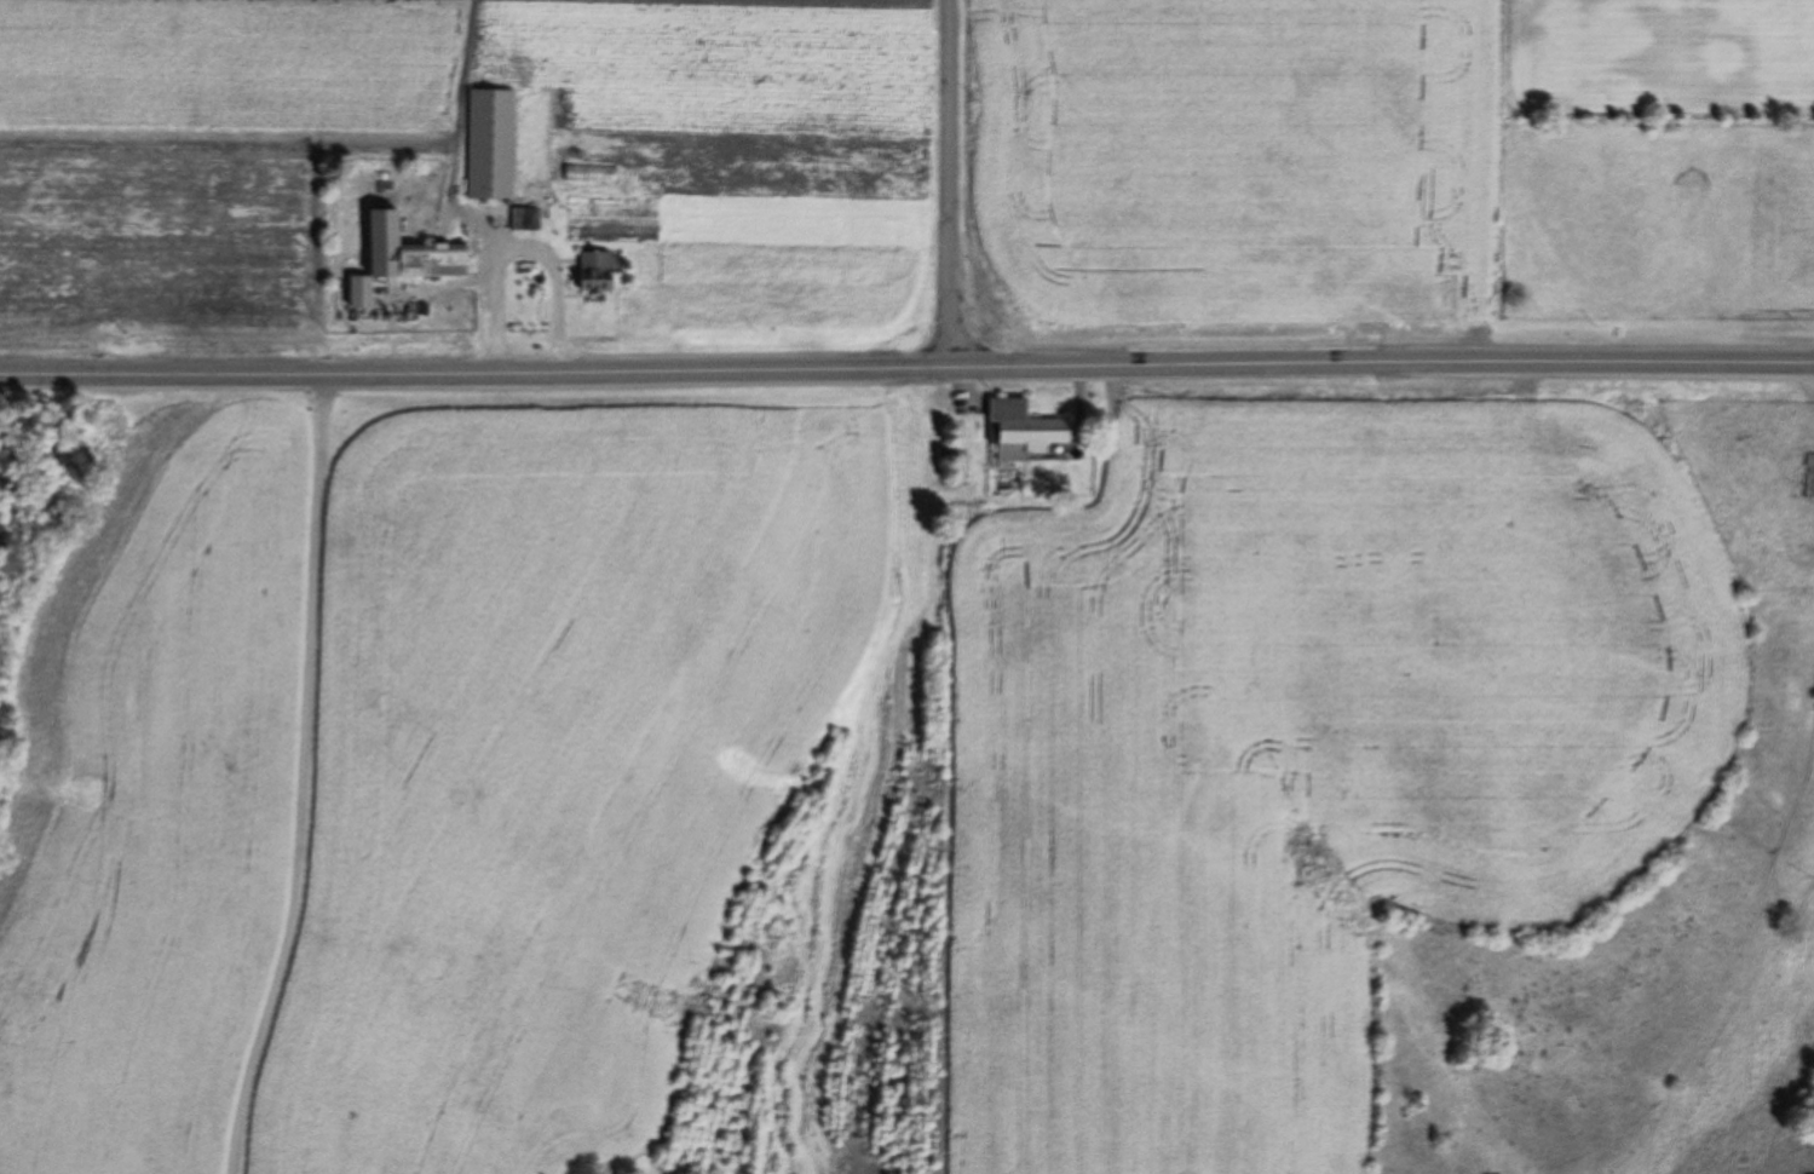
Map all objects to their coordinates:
building: (463, 134)
road: (952, 186)
building: (440, 260)
building: (595, 271)
building: (362, 292)
road: (906, 373)
building: (1025, 430)
building: (1809, 485)
road: (296, 777)

